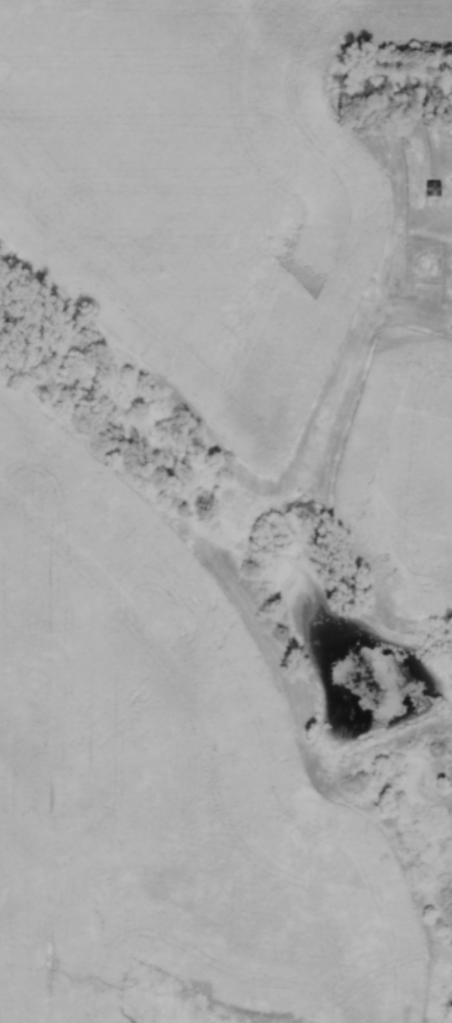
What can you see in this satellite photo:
building: (431, 190)

